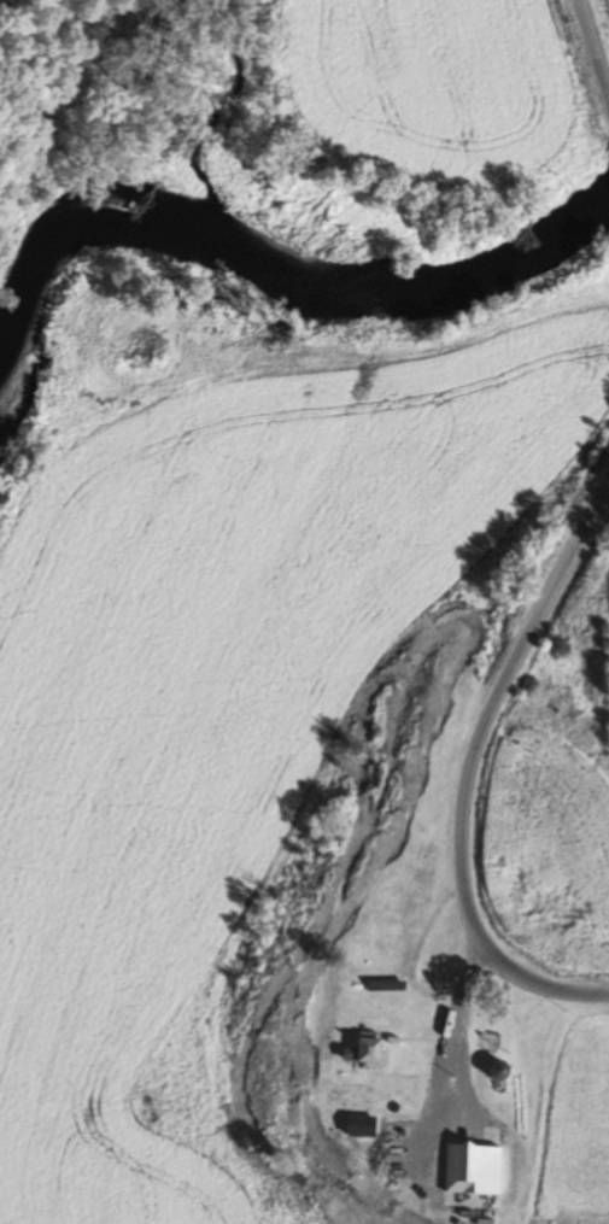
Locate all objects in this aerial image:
road: (580, 42)
river: (279, 221)
road: (433, 761)
building: (365, 1049)
building: (497, 1070)
building: (470, 1167)

